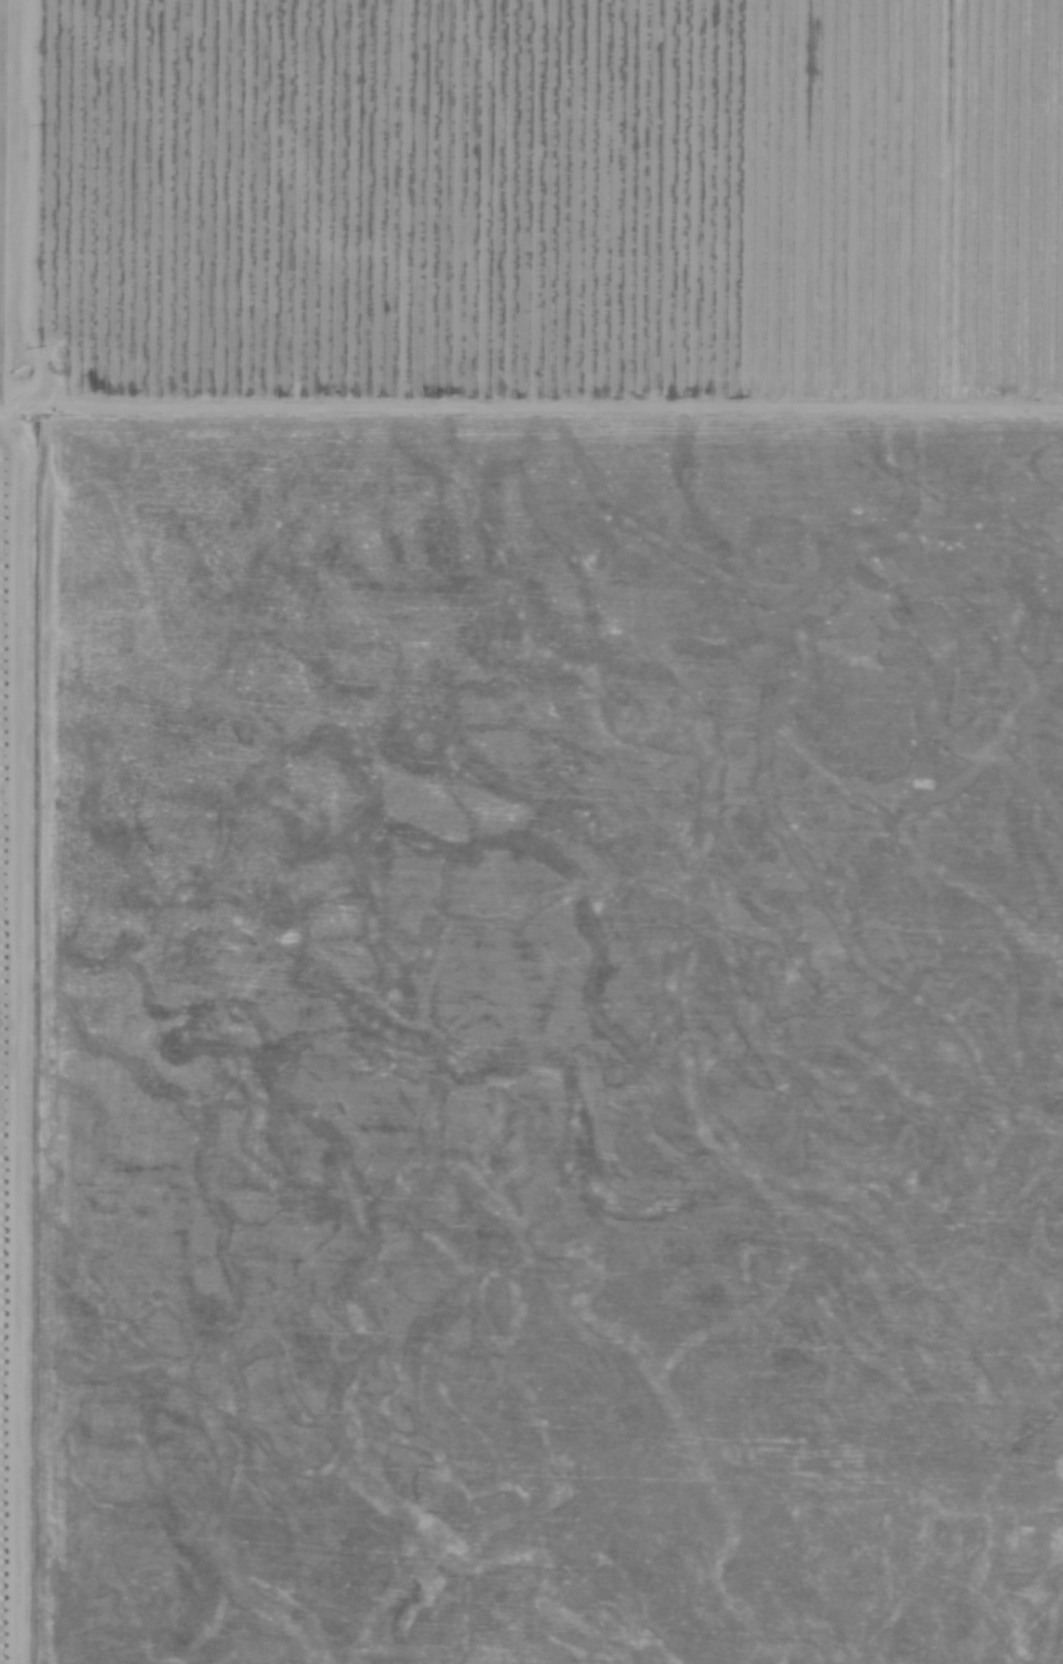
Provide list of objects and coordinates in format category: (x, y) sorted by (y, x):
crop: (545, 824)

